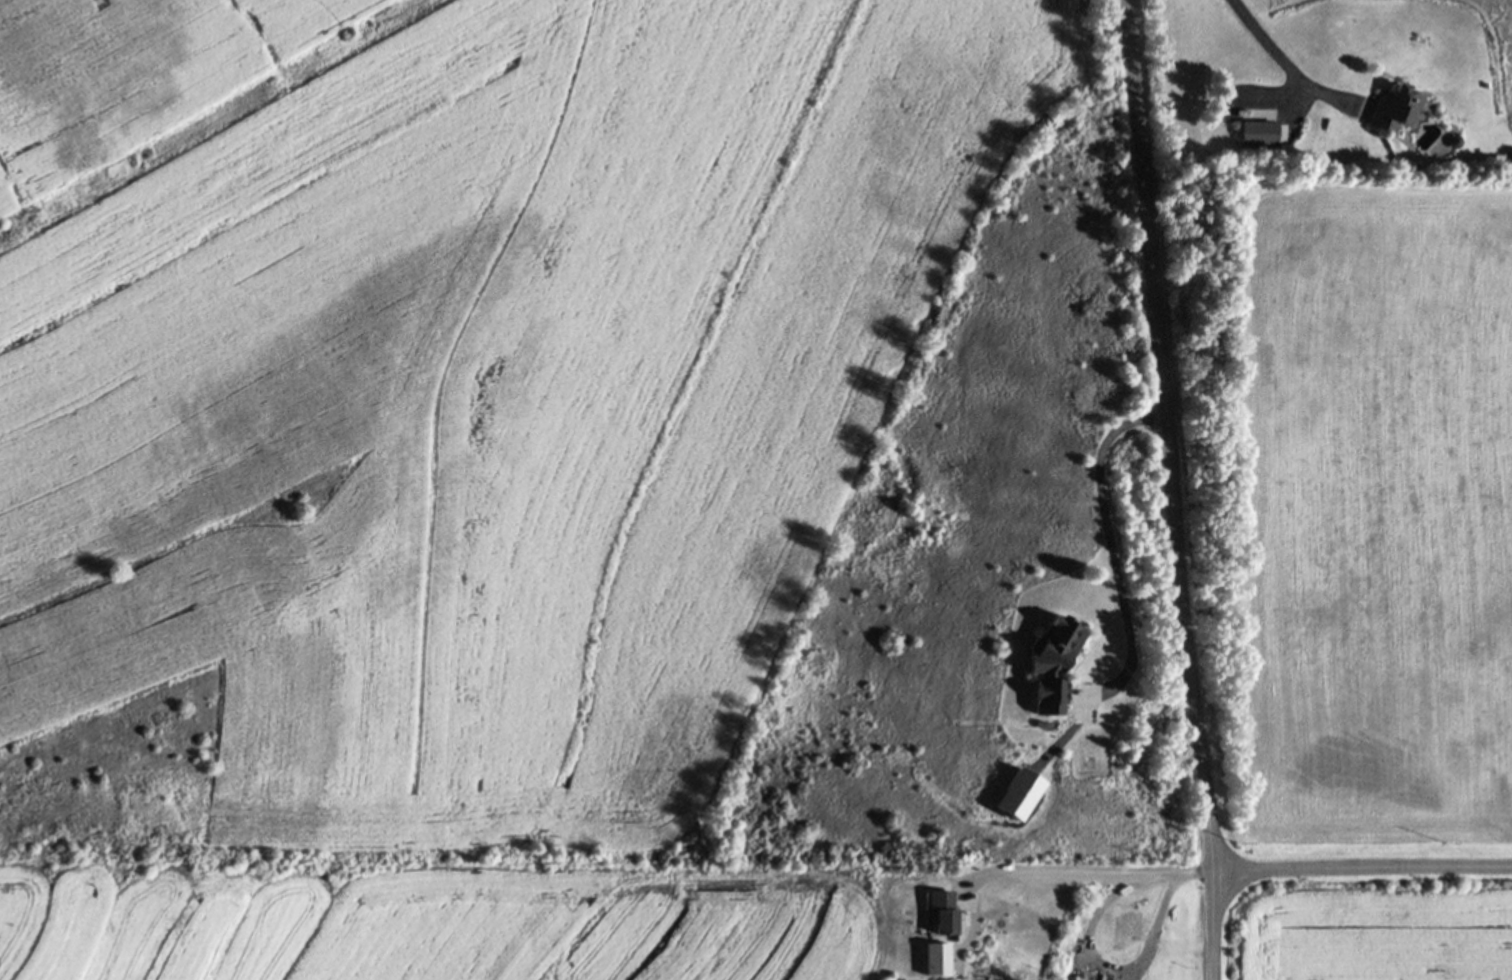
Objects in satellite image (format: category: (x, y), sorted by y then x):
road: (1290, 69)
building: (1392, 108)
building: (1262, 132)
road: (1171, 490)
road: (1115, 549)
building: (1052, 665)
road: (1362, 868)
road: (1010, 874)
building: (940, 914)
road: (1089, 945)

